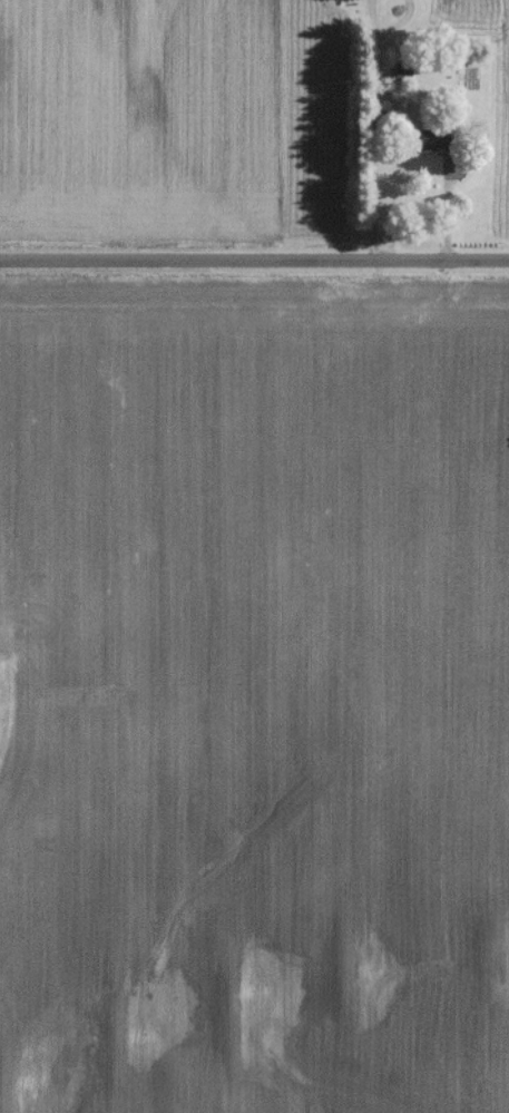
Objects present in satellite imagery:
building: (351, 1)
road: (370, 126)
building: (433, 145)
road: (254, 256)

